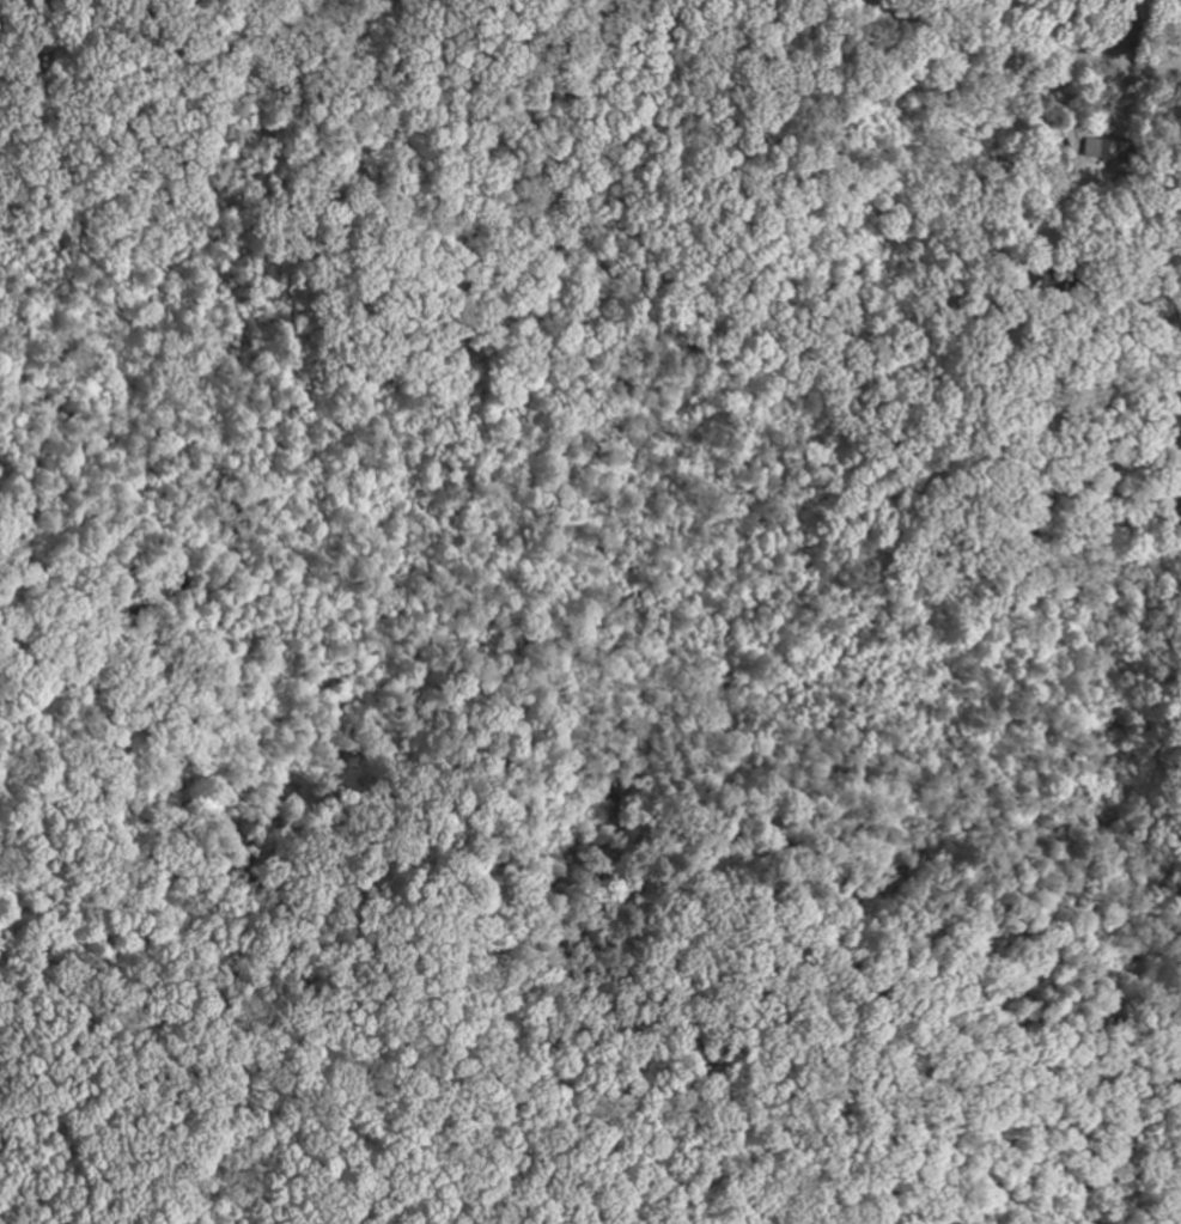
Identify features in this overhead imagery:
road: (1019, 55)
road: (300, 93)

